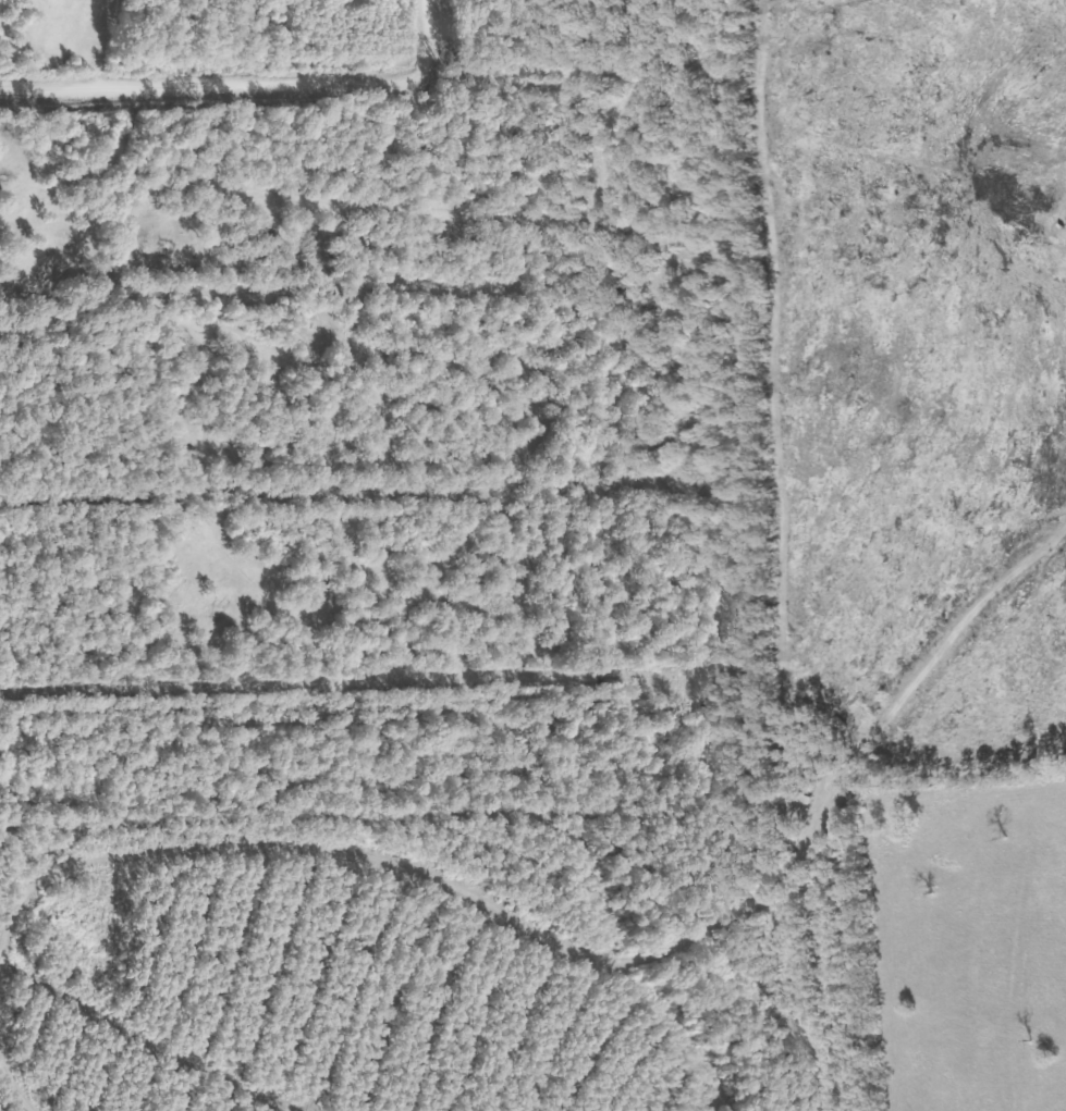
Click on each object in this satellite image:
road: (430, 28)
road: (193, 59)
road: (216, 70)
road: (601, 930)
road: (20, 1050)

